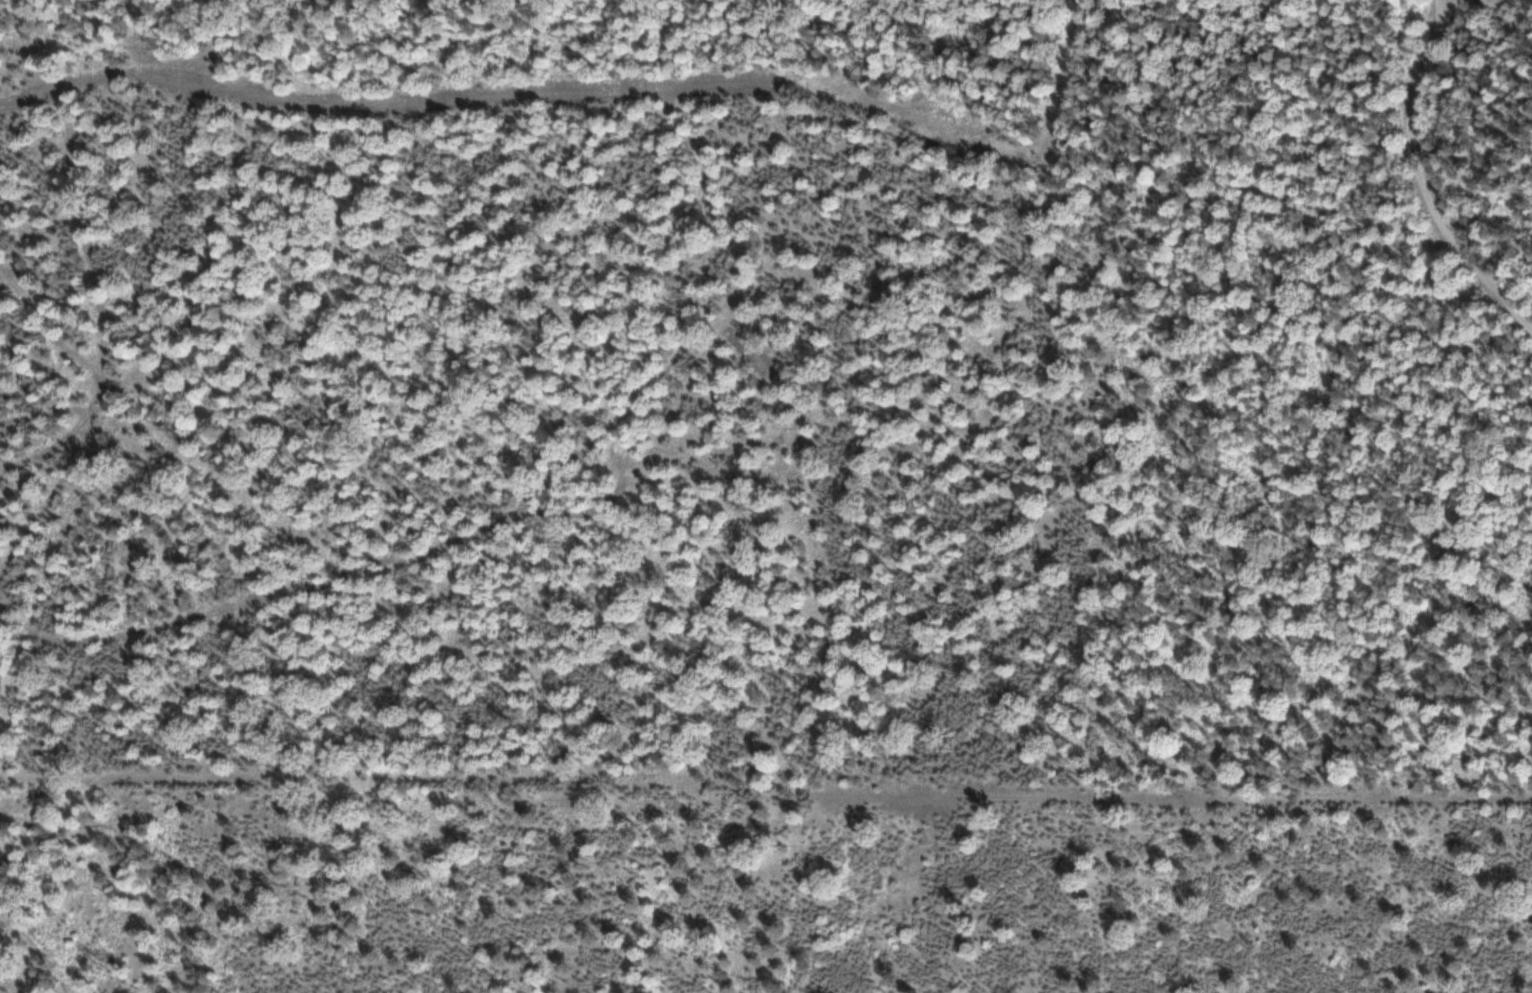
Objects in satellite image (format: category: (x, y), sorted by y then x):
road: (1461, 82)
road: (1423, 181)
road: (766, 786)
road: (82, 825)

